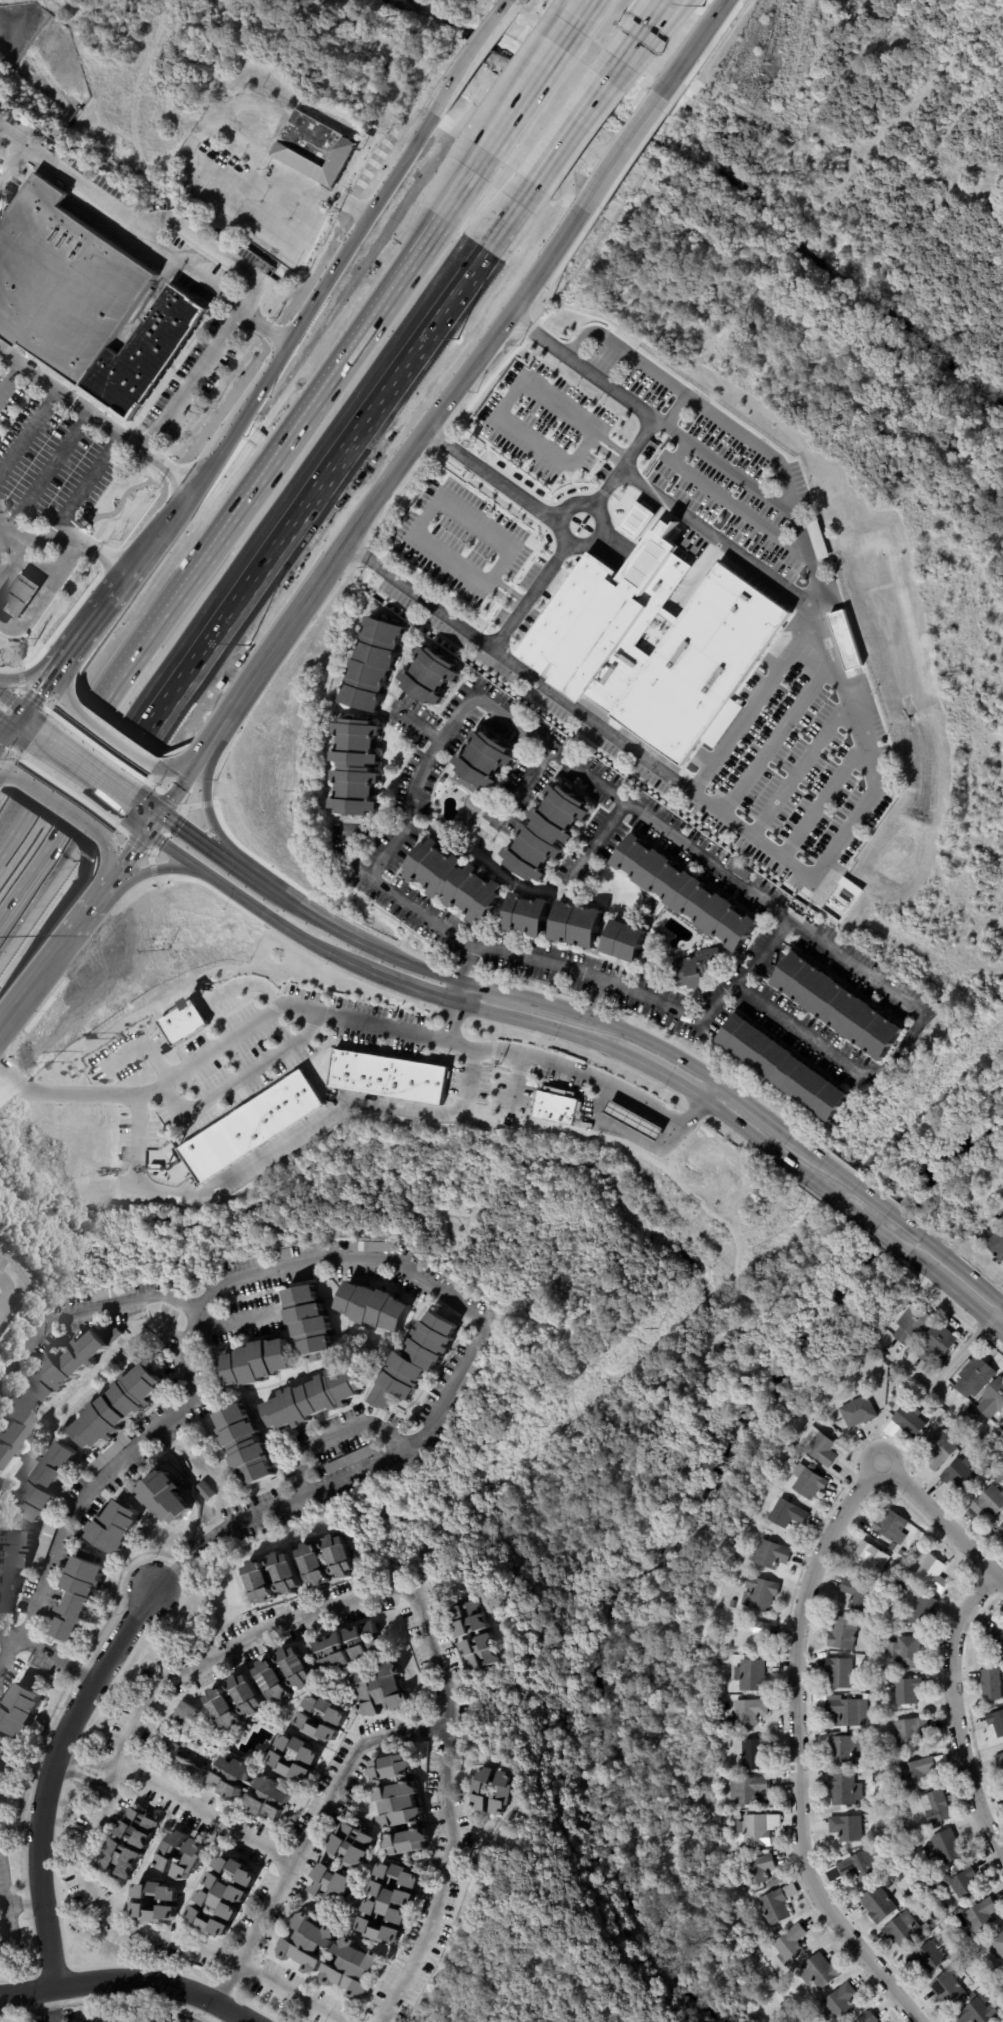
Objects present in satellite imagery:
road: (513, 4)
road: (579, 6)
road: (569, 22)
park: (377, 33)
road: (629, 38)
road: (645, 38)
road: (681, 47)
road: (463, 77)
road: (519, 98)
road: (567, 130)
building: (317, 149)
road: (608, 150)
road: (13, 165)
road: (461, 184)
road: (317, 188)
road: (508, 217)
road: (120, 219)
road: (269, 227)
road: (350, 243)
building: (86, 300)
road: (207, 355)
road: (10, 378)
road: (509, 399)
road: (236, 410)
road: (676, 410)
road: (92, 414)
road: (430, 418)
road: (27, 427)
road: (684, 437)
road: (46, 469)
road: (88, 485)
road: (730, 500)
road: (550, 514)
road: (424, 521)
building: (635, 521)
road: (152, 524)
road: (219, 532)
road: (62, 534)
building: (816, 539)
road: (716, 540)
road: (13, 563)
road: (36, 570)
road: (535, 587)
road: (242, 589)
building: (20, 596)
road: (46, 596)
road: (80, 621)
building: (588, 633)
road: (84, 634)
building: (845, 640)
building: (373, 663)
building: (432, 676)
road: (21, 678)
road: (259, 678)
road: (25, 695)
road: (752, 701)
road: (4, 714)
road: (4, 717)
traffic signals: (8, 719)
road: (4, 724)
road: (419, 724)
road: (17, 726)
road: (771, 732)
road: (114, 733)
road: (220, 738)
road: (197, 752)
building: (484, 763)
building: (355, 767)
road: (6, 772)
road: (799, 773)
road: (84, 774)
road: (520, 784)
road: (874, 785)
road: (186, 789)
road: (821, 803)
road: (57, 805)
road: (211, 818)
road: (150, 821)
traffic signals: (160, 828)
building: (548, 833)
road: (594, 840)
road: (679, 843)
road: (209, 844)
road: (134, 862)
building: (739, 870)
road: (160, 871)
building: (455, 882)
building: (686, 893)
road: (257, 907)
road: (81, 910)
road: (304, 911)
building: (528, 915)
building: (580, 924)
road: (75, 938)
building: (625, 941)
road: (410, 963)
building: (696, 967)
road: (612, 984)
road: (410, 989)
road: (460, 992)
road: (502, 992)
building: (838, 1005)
road: (20, 1006)
building: (937, 1007)
road: (452, 1021)
building: (183, 1023)
road: (545, 1026)
road: (633, 1033)
road: (220, 1042)
building: (785, 1066)
road: (581, 1071)
road: (242, 1077)
building: (387, 1077)
road: (666, 1080)
road: (708, 1094)
building: (555, 1105)
road: (760, 1113)
building: (634, 1121)
building: (251, 1127)
road: (737, 1129)
road: (627, 1135)
road: (282, 1145)
building: (174, 1157)
road: (860, 1186)
road: (841, 1203)
building: (1002, 1224)
building: (373, 1246)
building: (995, 1246)
building: (284, 1254)
road: (960, 1266)
road: (924, 1267)
building: (115, 1293)
road: (6, 1294)
road: (126, 1301)
road: (965, 1302)
building: (373, 1307)
road: (996, 1316)
building: (311, 1323)
building: (911, 1325)
road: (996, 1330)
building: (934, 1345)
road: (960, 1355)
building: (414, 1361)
building: (259, 1362)
building: (71, 1367)
building: (473, 1376)
building: (973, 1378)
road: (455, 1379)
road: (942, 1398)
building: (313, 1399)
building: (991, 1400)
building: (120, 1409)
building: (856, 1412)
building: (15, 1420)
building: (907, 1421)
building: (1001, 1431)
building: (1002, 1433)
road: (333, 1436)
building: (245, 1445)
building: (816, 1447)
building: (938, 1452)
building: (111, 1455)
building: (351, 1460)
building: (783, 1466)
building: (986, 1472)
building: (957, 1476)
road: (102, 1479)
building: (997, 1479)
building: (1002, 1480)
building: (807, 1482)
building: (46, 1483)
building: (205, 1491)
building: (167, 1498)
building: (987, 1503)
building: (786, 1514)
building: (969, 1516)
road: (942, 1524)
building: (117, 1527)
building: (891, 1527)
building: (999, 1533)
building: (46, 1543)
building: (890, 1546)
building: (900, 1553)
building: (767, 1554)
building: (870, 1558)
building: (328, 1559)
building: (13, 1563)
building: (931, 1573)
building: (273, 1576)
building: (757, 1592)
building: (80, 1594)
building: (856, 1594)
building: (732, 1604)
building: (921, 1610)
building: (886, 1615)
building: (886, 1620)
building: (882, 1630)
road: (427, 1632)
building: (748, 1633)
building: (841, 1633)
building: (477, 1635)
building: (996, 1637)
building: (353, 1647)
building: (905, 1652)
road: (46, 1657)
building: (717, 1657)
building: (870, 1658)
building: (285, 1672)
building: (839, 1673)
building: (749, 1675)
building: (989, 1686)
building: (383, 1690)
building: (905, 1690)
building: (872, 1698)
building: (234, 1701)
building: (20, 1710)
building: (746, 1711)
building: (845, 1711)
building: (881, 1712)
road: (957, 1712)
building: (189, 1713)
building: (883, 1719)
building: (311, 1720)
building: (995, 1724)
building: (874, 1729)
building: (908, 1730)
building: (726, 1745)
building: (4, 1747)
building: (841, 1750)
road: (796, 1753)
building: (752, 1754)
building: (725, 1755)
building: (183, 1758)
building: (283, 1758)
building: (998, 1762)
building: (875, 1764)
building: (915, 1771)
building: (876, 1774)
road: (49, 1775)
building: (271, 1788)
building: (745, 1789)
building: (843, 1790)
building: (481, 1792)
road: (175, 1803)
building: (403, 1804)
building: (936, 1807)
building: (883, 1815)
building: (844, 1828)
building: (757, 1829)
road: (308, 1834)
building: (131, 1843)
building: (907, 1848)
building: (943, 1848)
building: (170, 1854)
building: (345, 1863)
building: (854, 1866)
building: (757, 1869)
building: (962, 1885)
building: (223, 1896)
building: (142, 1902)
road: (7, 1903)
building: (923, 1903)
building: (875, 1904)
building: (390, 1905)
building: (772, 1907)
building: (946, 1909)
building: (979, 1915)
building: (901, 1931)
road: (153, 1935)
building: (789, 1945)
building: (996, 1945)
building: (928, 1955)
building: (301, 1958)
building: (817, 1973)
road: (128, 1979)
building: (998, 1979)
building: (1001, 1986)
building: (945, 1990)
building: (838, 2003)
road: (53, 2004)
building: (1001, 2007)
building: (975, 2013)
building: (866, 2018)
building: (84, 2021)

